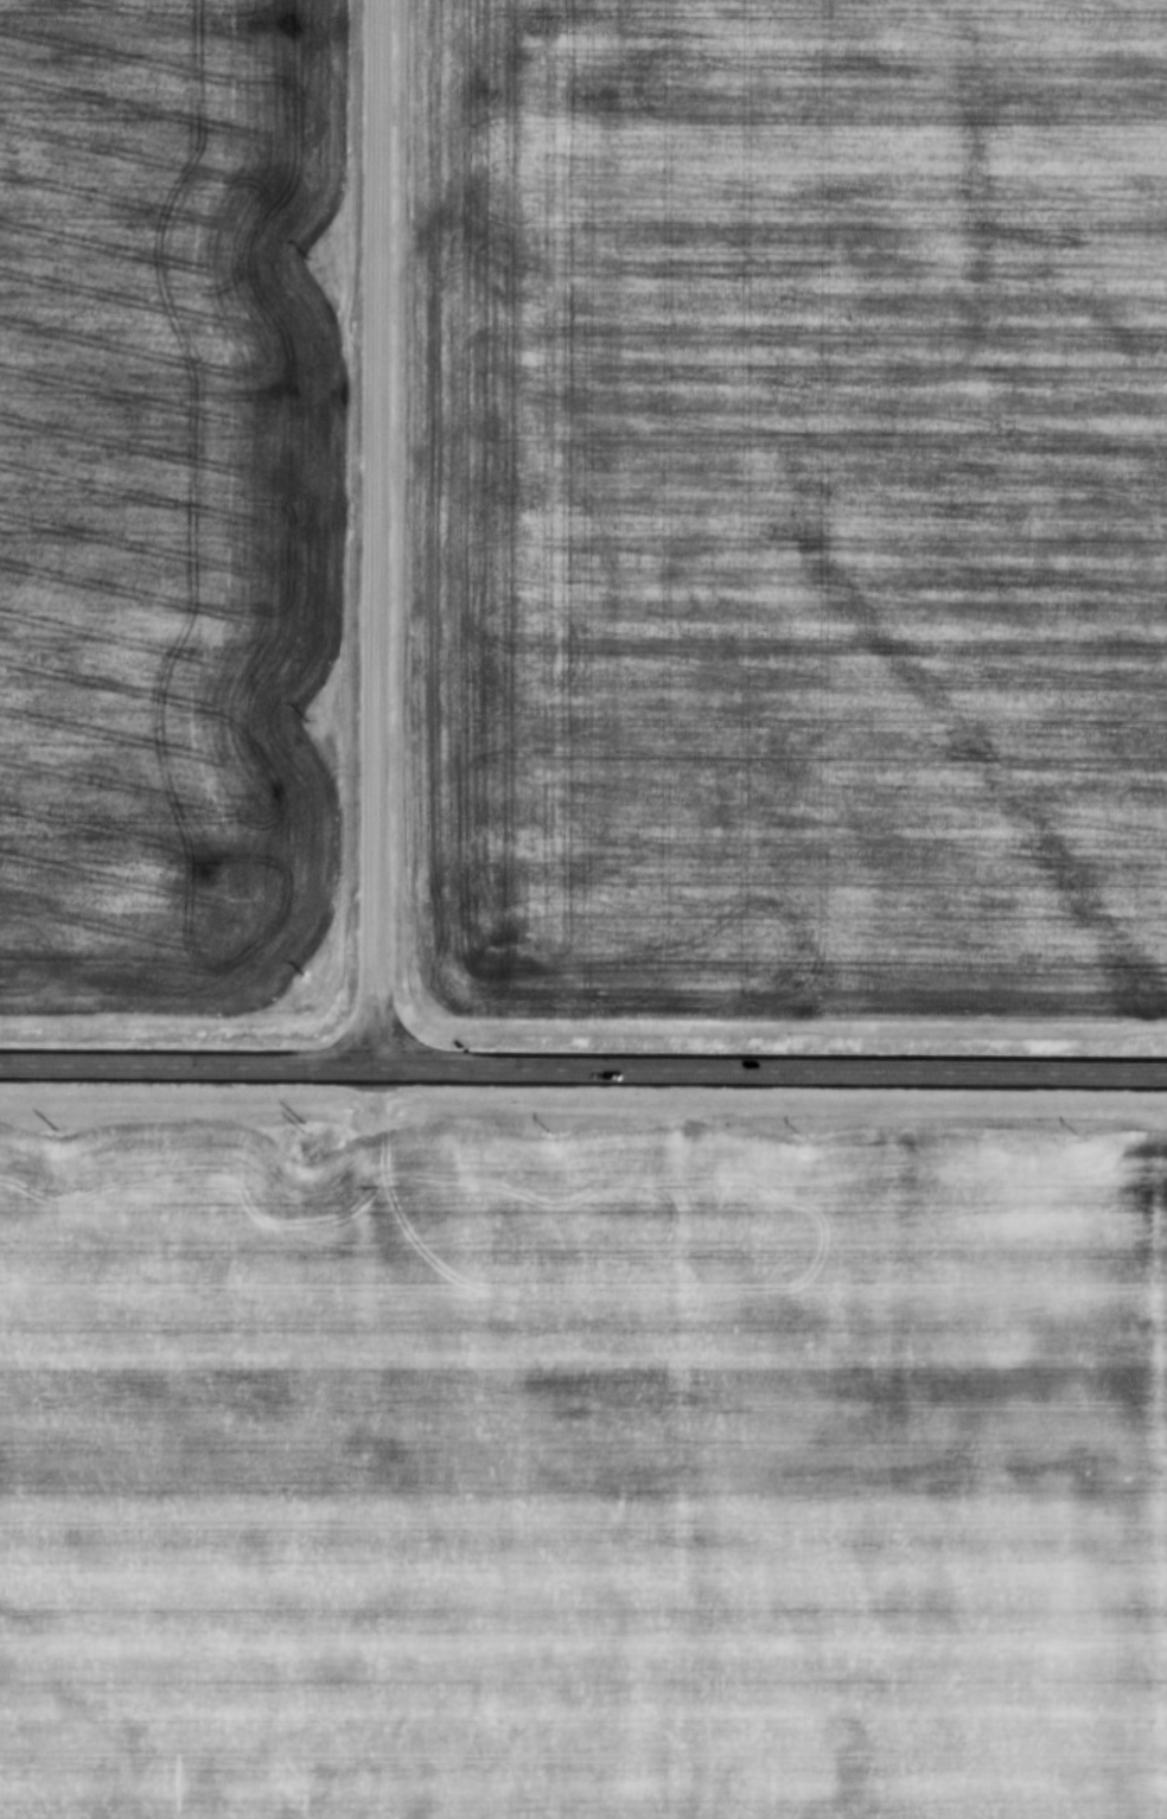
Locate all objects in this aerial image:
crop: (798, 510)
road: (384, 535)
road: (191, 1068)
road: (774, 1073)
crop: (583, 1474)

